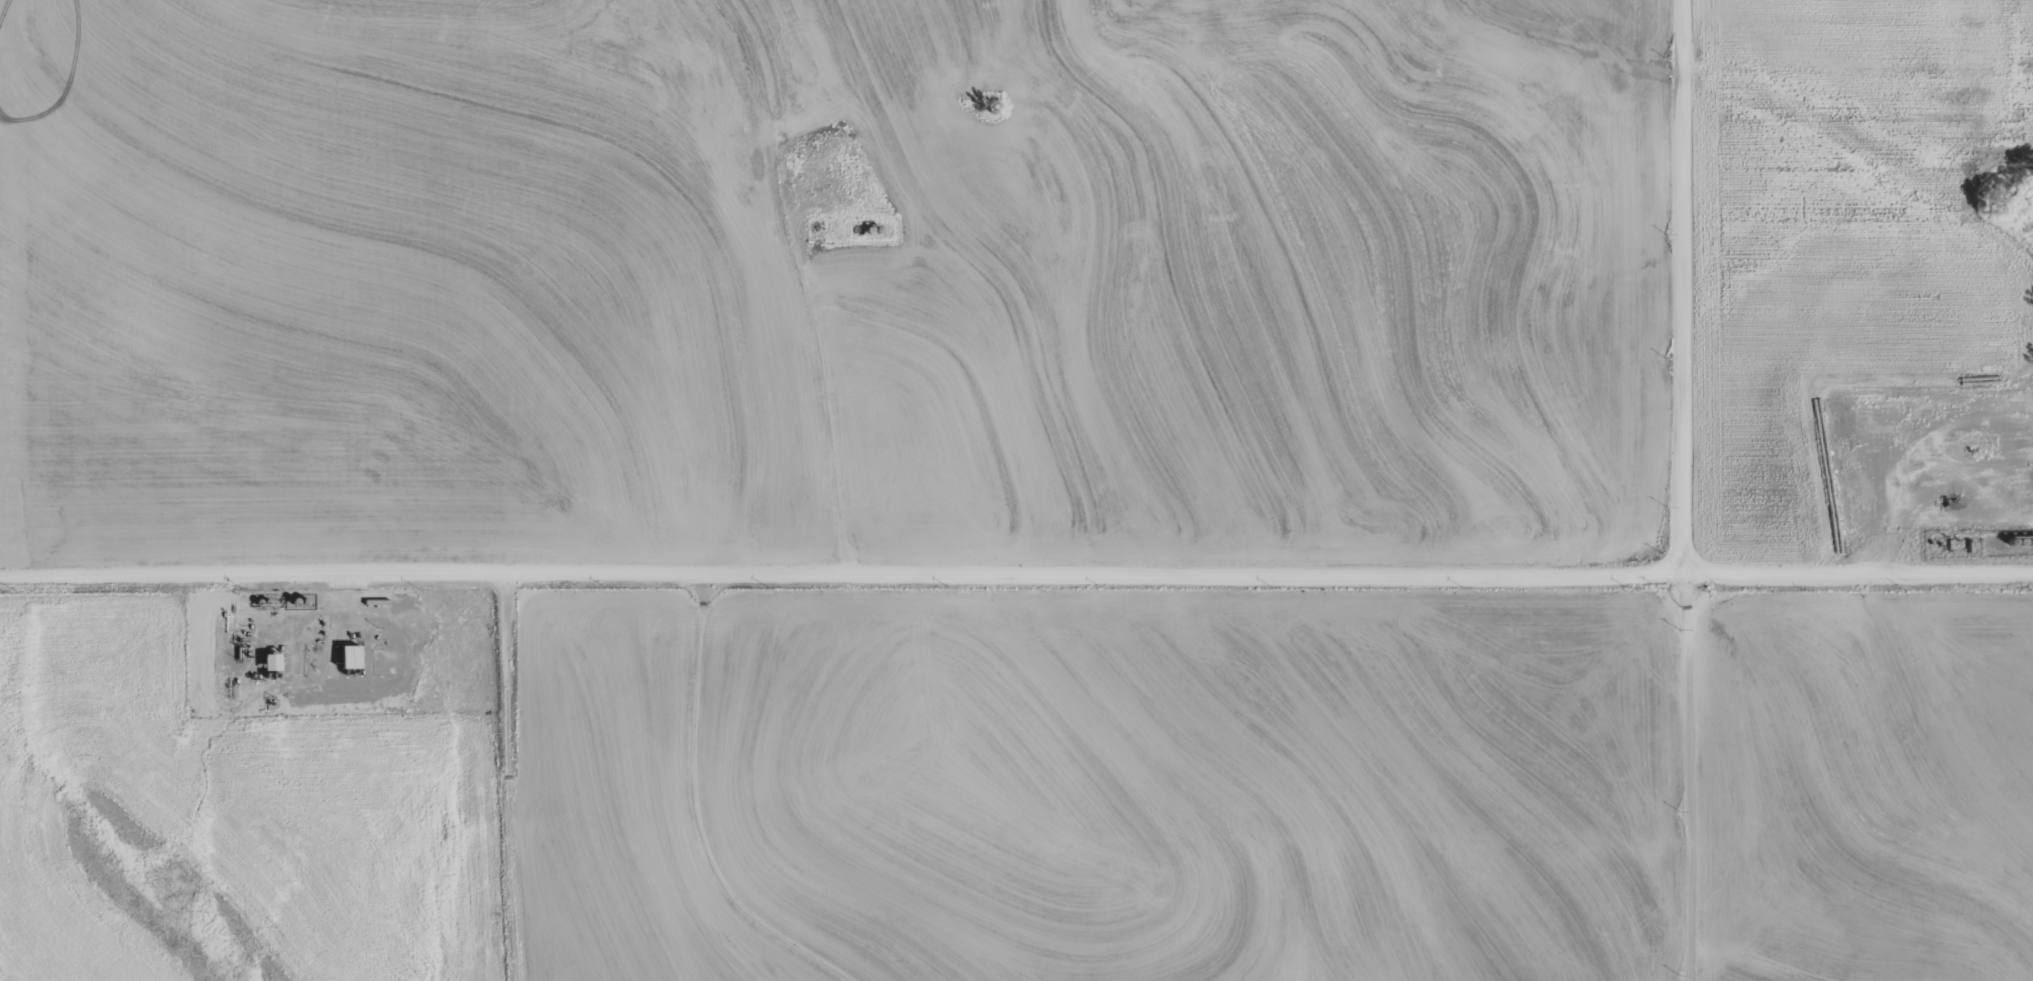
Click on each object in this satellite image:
road: (1689, 287)
road: (1016, 573)
building: (269, 664)

